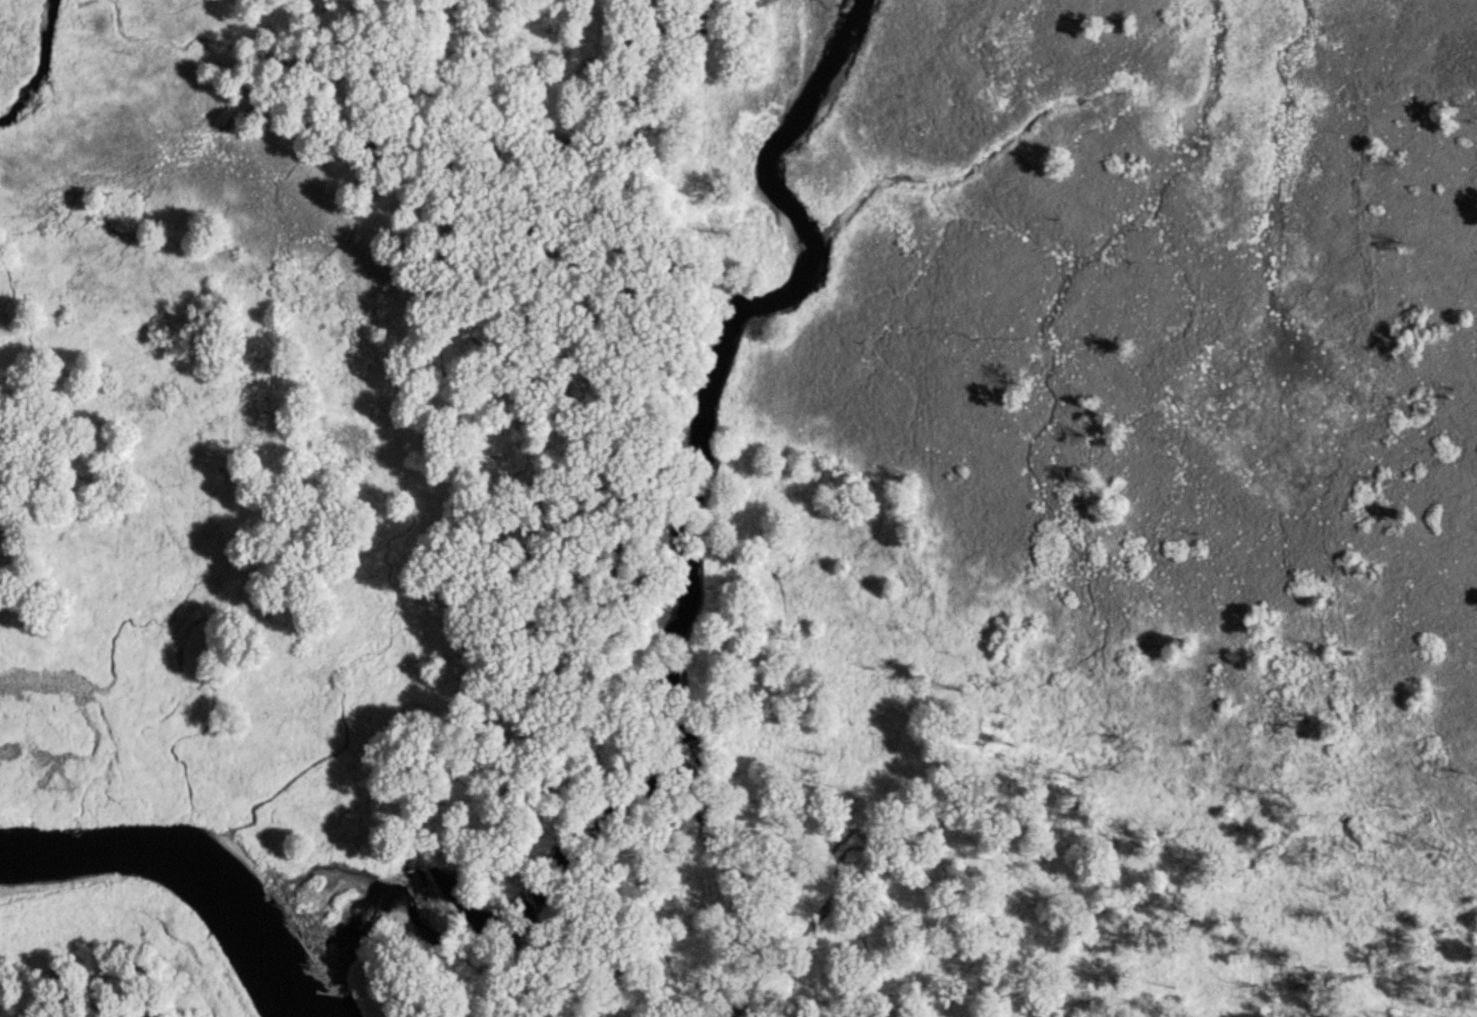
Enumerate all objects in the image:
river: (191, 865)

